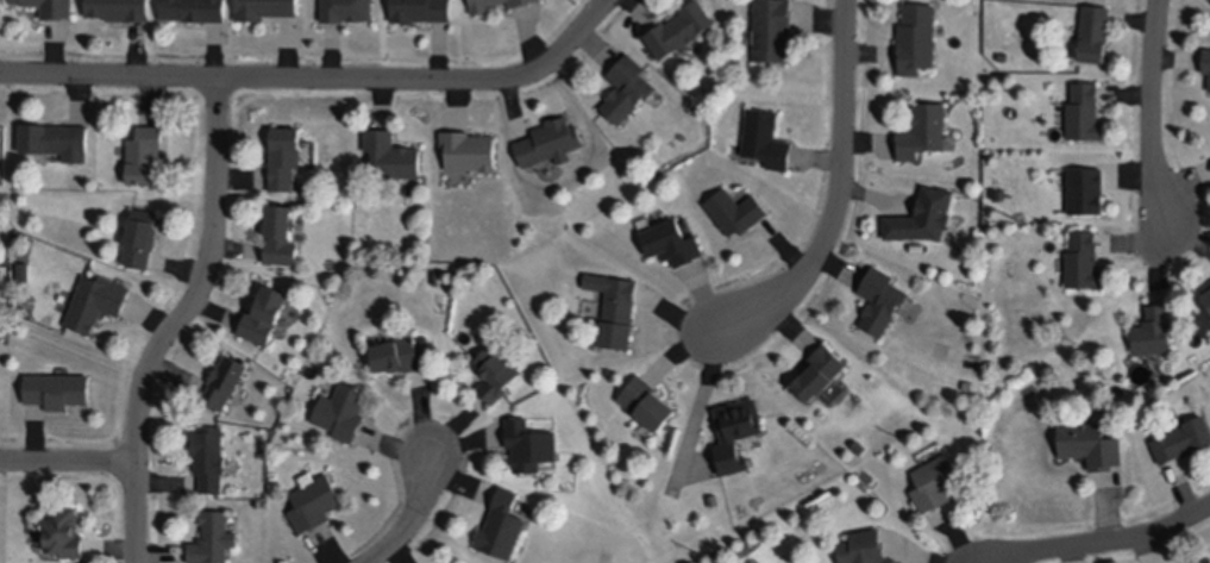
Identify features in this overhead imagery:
building: (503, 7)
building: (48, 10)
building: (119, 12)
building: (265, 12)
building: (194, 13)
building: (347, 13)
building: (421, 14)
building: (679, 26)
building: (773, 27)
building: (1095, 29)
building: (917, 36)
building: (1003, 56)
building: (1206, 58)
road: (320, 79)
building: (627, 86)
building: (1085, 110)
road: (1152, 114)
building: (923, 127)
building: (766, 136)
building: (56, 137)
building: (551, 138)
building: (469, 146)
building: (144, 151)
building: (391, 151)
building: (284, 154)
building: (1086, 187)
road: (840, 189)
building: (998, 190)
building: (735, 208)
building: (923, 213)
power tower: (1018, 229)
building: (281, 231)
building: (142, 236)
building: (672, 238)
building: (919, 245)
building: (1084, 258)
building: (1206, 290)
building: (882, 298)
building: (96, 299)
building: (1205, 299)
building: (616, 305)
building: (265, 309)
road: (181, 321)
building: (1154, 329)
building: (401, 351)
building: (496, 369)
building: (819, 369)
building: (226, 379)
building: (968, 383)
building: (58, 387)
building: (648, 399)
building: (343, 408)
building: (738, 428)
building: (1183, 436)
building: (531, 442)
building: (1090, 442)
building: (209, 455)
road: (68, 464)
building: (936, 480)
building: (314, 501)
road: (414, 518)
building: (503, 524)
building: (63, 531)
building: (213, 537)
road: (1112, 543)
building: (864, 545)
building: (1203, 559)
building: (458, 562)

